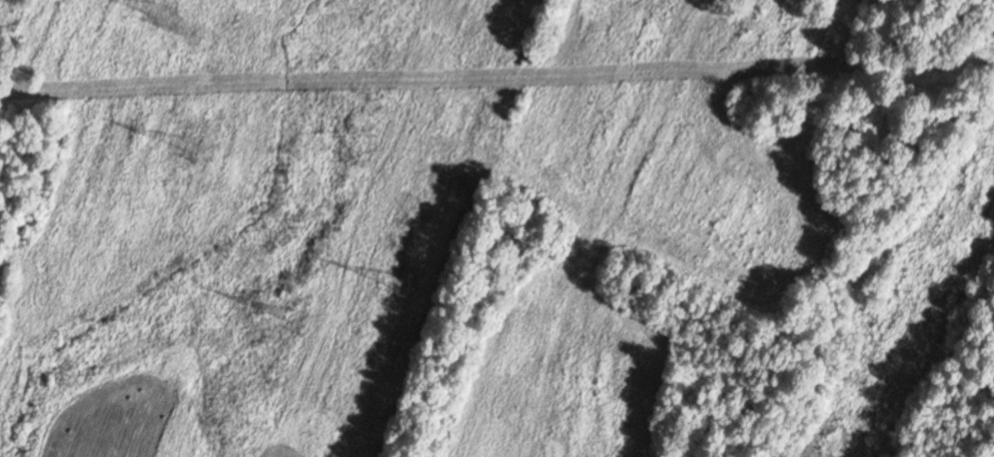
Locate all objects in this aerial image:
power tower: (152, 11)
power tower: (187, 142)
power tower: (394, 283)
power tower: (297, 316)

